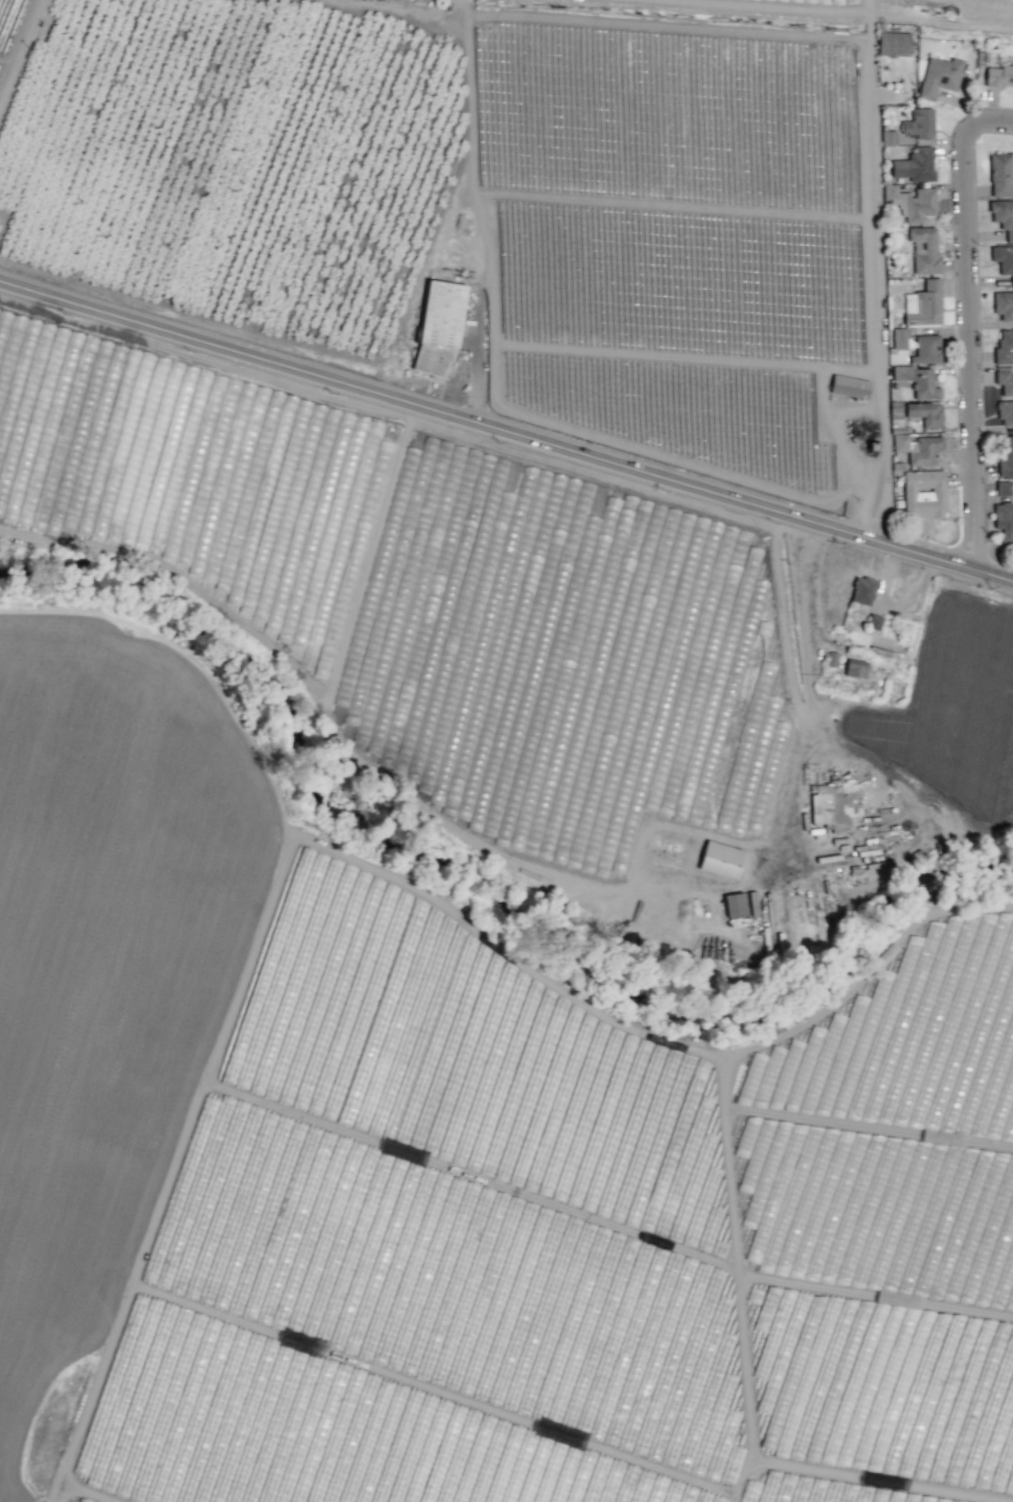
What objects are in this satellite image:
road: (761, 7)
building: (893, 43)
road: (19, 51)
building: (939, 75)
building: (999, 76)
building: (919, 123)
building: (887, 137)
building: (914, 165)
building: (1000, 174)
building: (911, 202)
building: (1003, 216)
building: (923, 249)
building: (1003, 260)
road: (874, 270)
building: (923, 304)
building: (1003, 305)
building: (438, 326)
road: (976, 333)
building: (899, 337)
building: (1004, 347)
road: (217, 348)
building: (926, 349)
road: (477, 368)
building: (1003, 380)
building: (918, 381)
building: (849, 386)
road: (831, 412)
building: (1005, 412)
building: (917, 448)
building: (1006, 457)
building: (1002, 487)
building: (923, 493)
road: (723, 497)
building: (1003, 522)
building: (861, 590)
building: (873, 621)
building: (831, 658)
building: (854, 668)
crop: (980, 719)
crop: (431, 724)
building: (719, 859)
building: (733, 904)
building: (850, 1047)
crop: (885, 1190)
building: (787, 1495)

